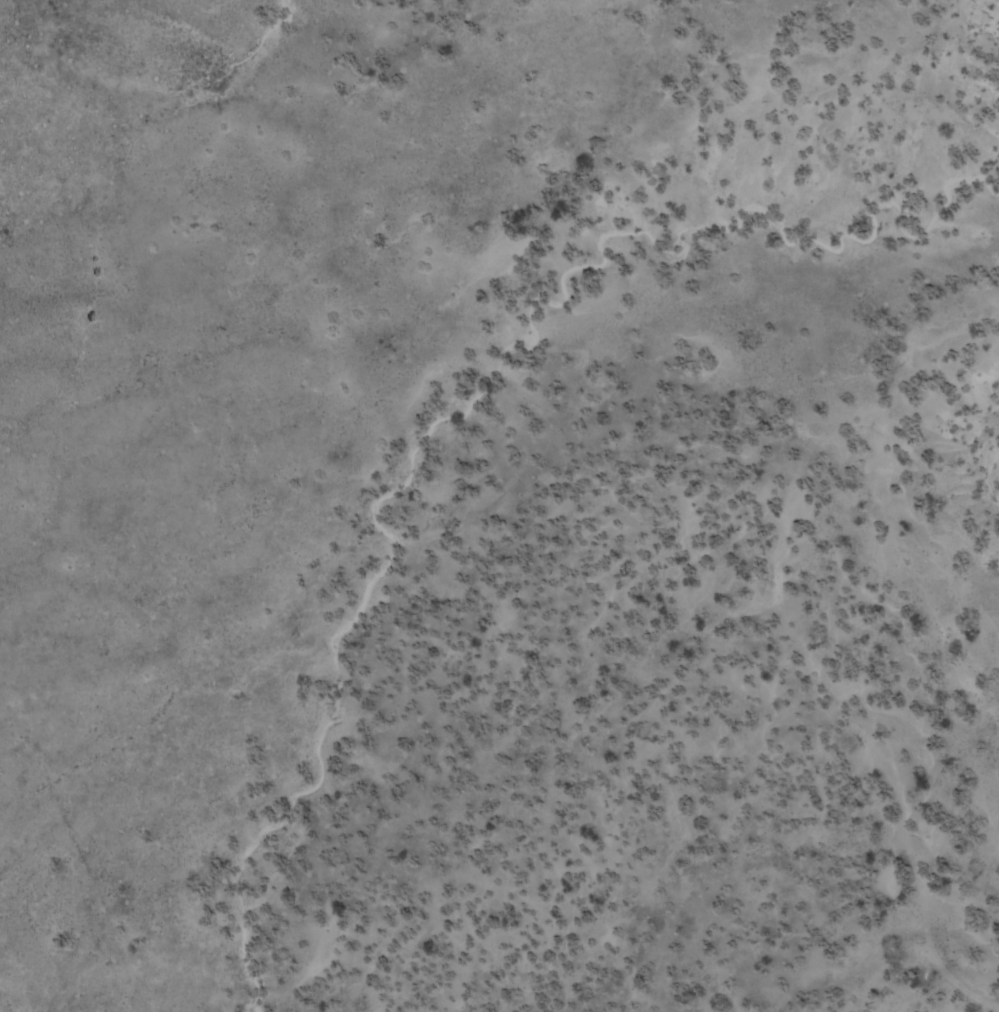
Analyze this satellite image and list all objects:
road: (72, 895)

